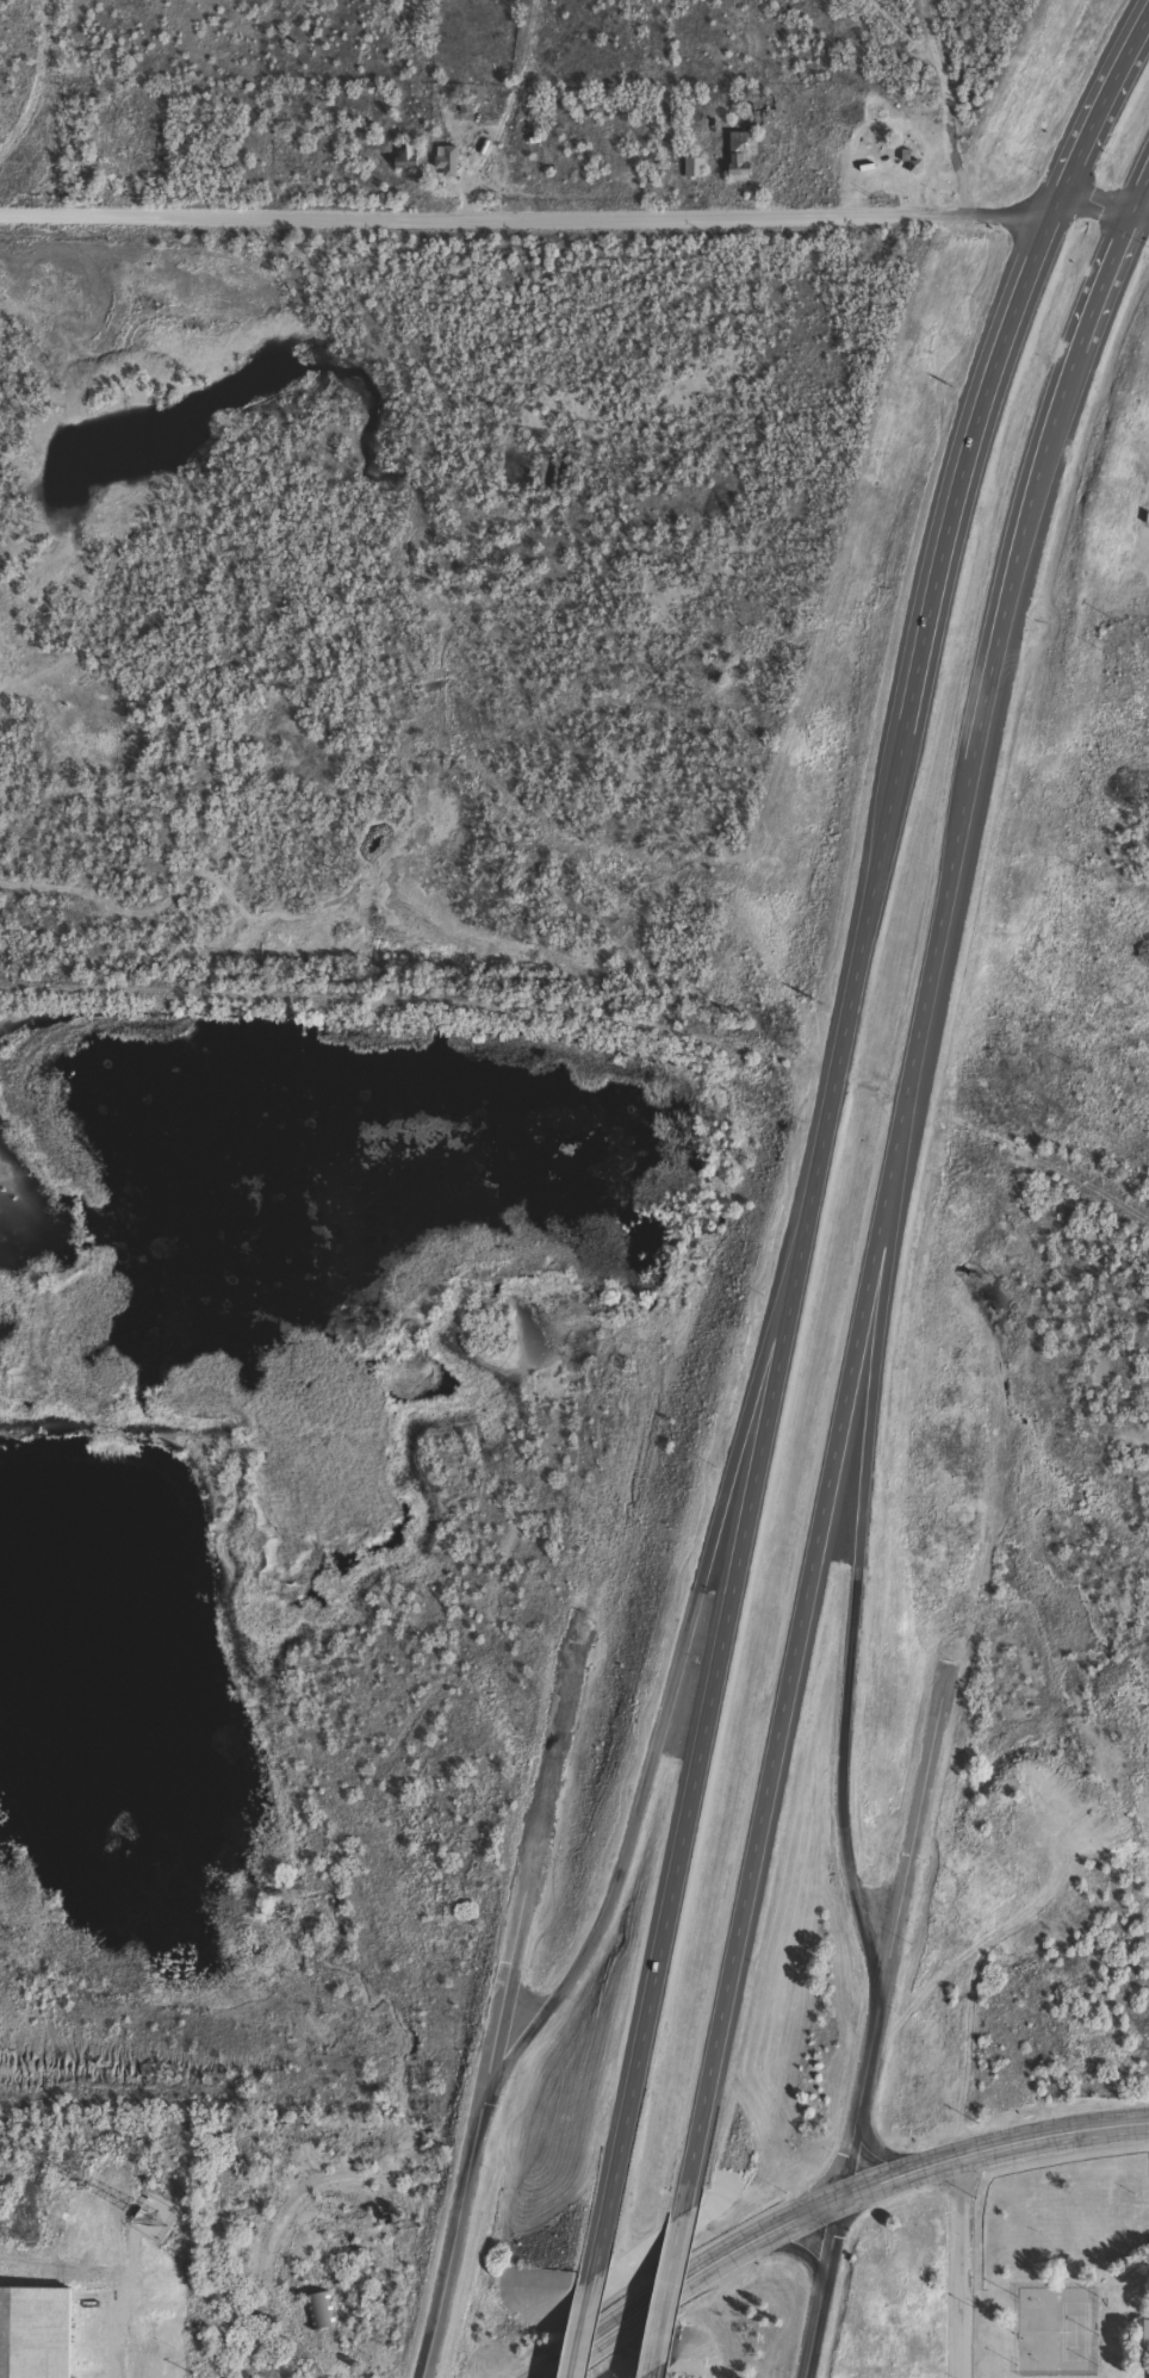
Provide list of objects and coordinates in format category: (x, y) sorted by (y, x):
building: (741, 160)
building: (406, 166)
building: (447, 169)
building: (694, 175)
road: (574, 216)
railway: (592, 1022)
road: (819, 1126)
road: (882, 1187)
road: (858, 1575)
road: (696, 1607)
road: (909, 1837)
road: (528, 1877)
road: (880, 1893)
road: (523, 2001)
road: (883, 2154)
road: (843, 2194)
road: (828, 2206)
road: (799, 2248)
road: (446, 2259)
road: (957, 2265)
road: (657, 2292)
building: (321, 2318)
road: (578, 2324)
building: (35, 2336)
road: (424, 2373)
road: (640, 2374)

